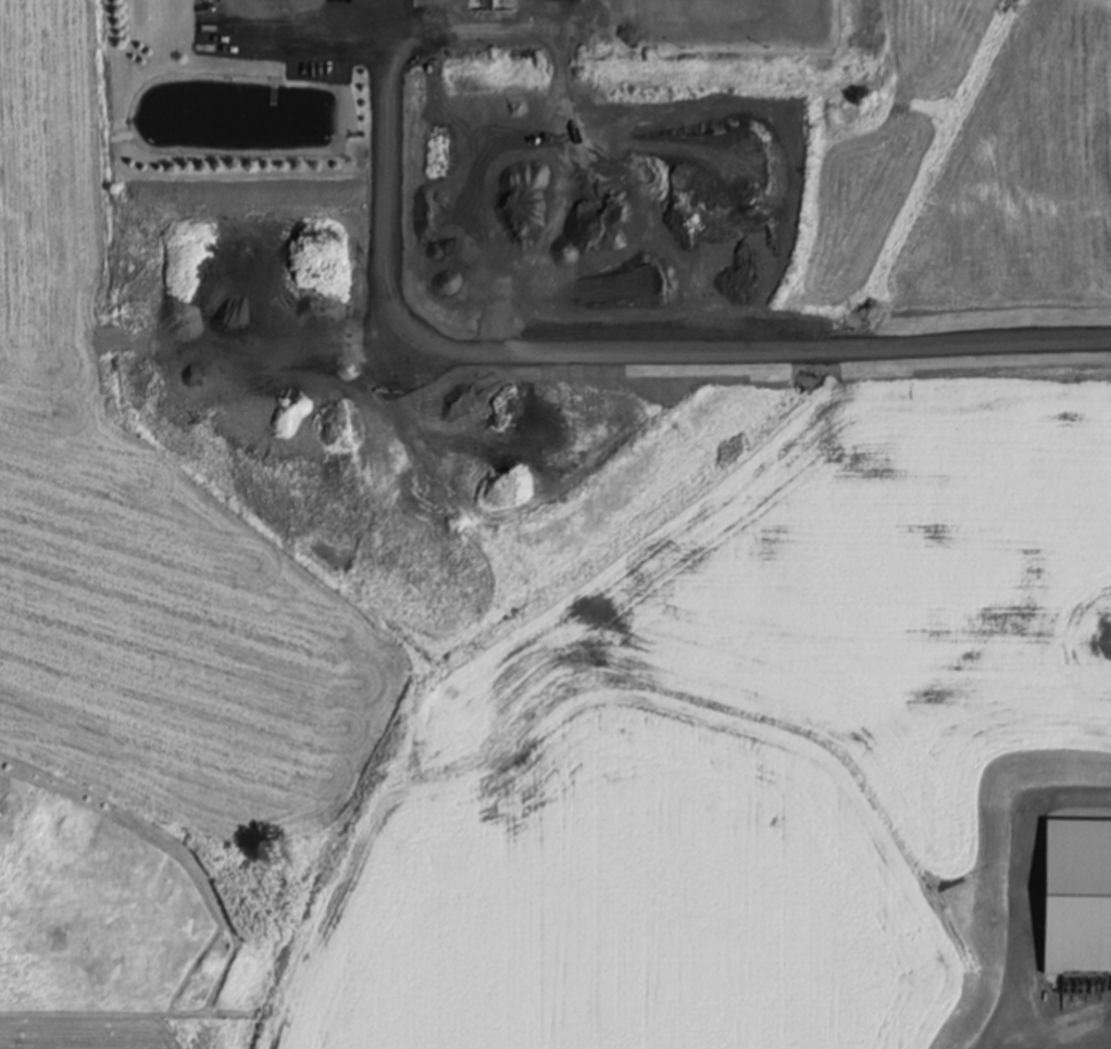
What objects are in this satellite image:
road: (300, 27)
road: (592, 351)
building: (1077, 888)

